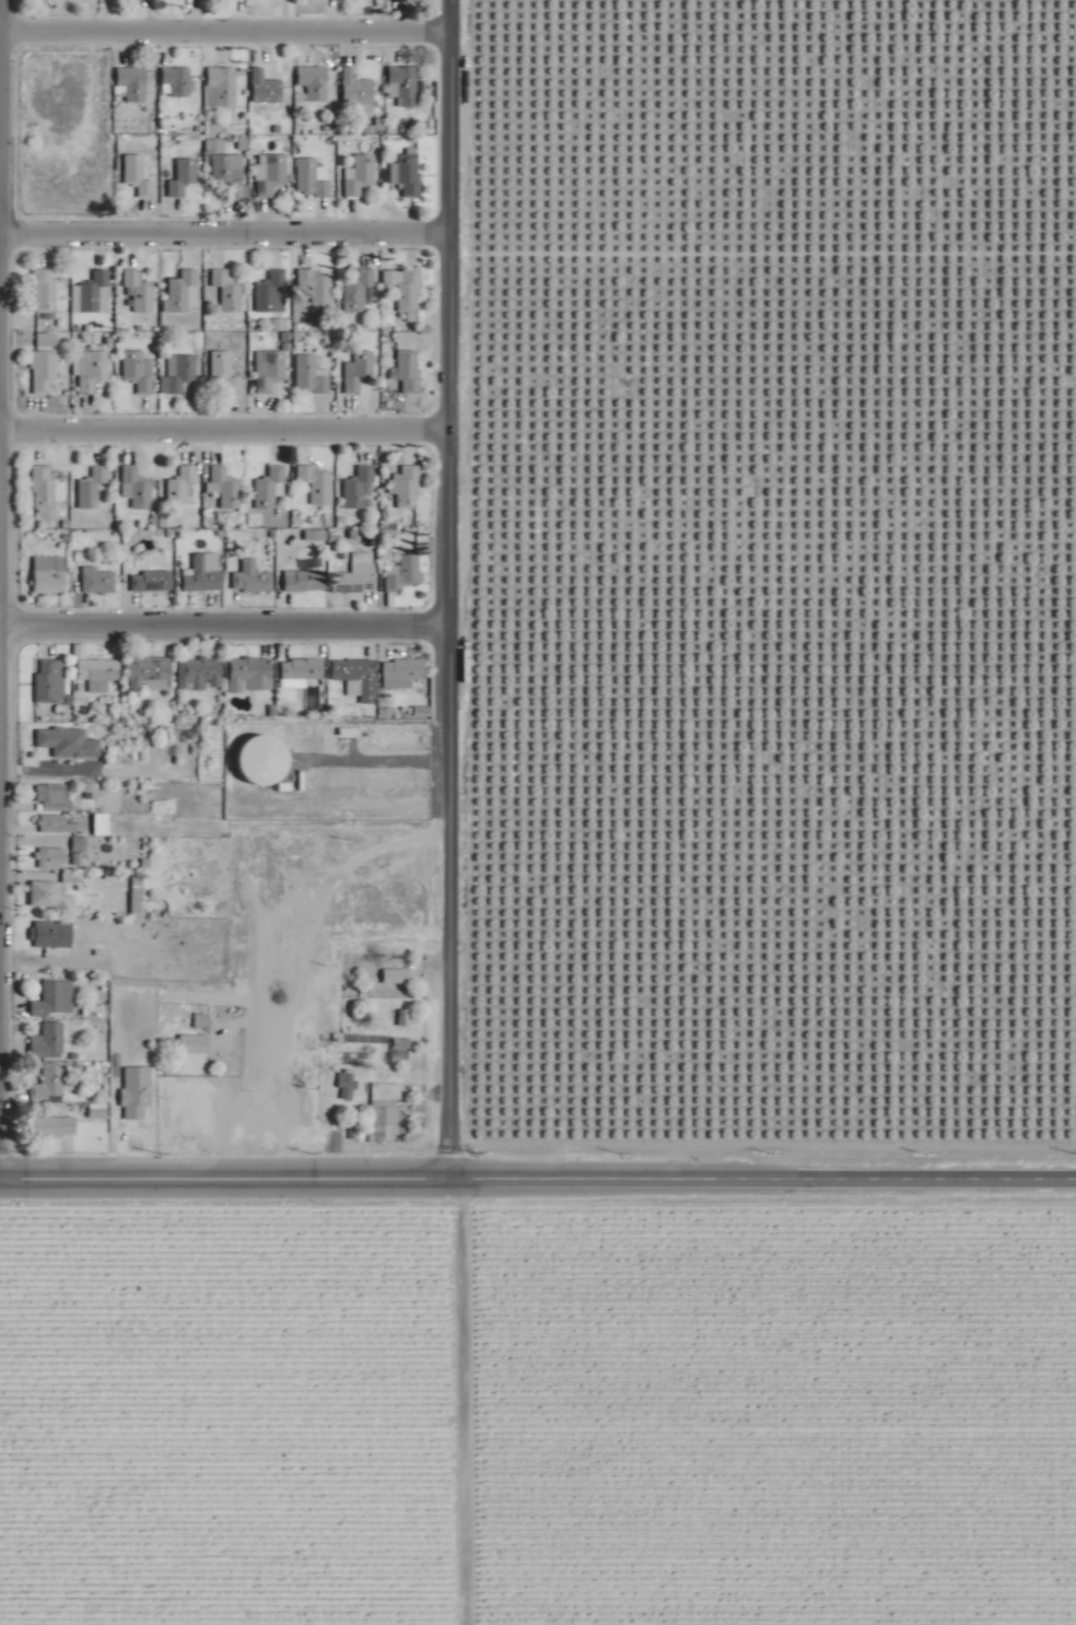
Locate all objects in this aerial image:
road: (224, 23)
building: (179, 82)
building: (313, 82)
building: (131, 85)
building: (403, 85)
building: (222, 87)
building: (266, 87)
building: (356, 92)
building: (407, 172)
building: (270, 173)
building: (138, 175)
building: (360, 175)
building: (229, 176)
building: (184, 177)
building: (313, 178)
road: (223, 224)
building: (318, 287)
building: (405, 288)
building: (45, 290)
building: (359, 290)
building: (183, 291)
building: (227, 291)
building: (139, 292)
building: (272, 292)
building: (93, 293)
building: (47, 339)
building: (93, 370)
building: (269, 370)
building: (139, 371)
building: (408, 371)
building: (45, 372)
building: (178, 372)
building: (359, 372)
building: (224, 374)
building: (309, 375)
road: (223, 420)
building: (317, 483)
building: (182, 486)
building: (269, 486)
building: (225, 487)
building: (408, 487)
building: (43, 488)
building: (92, 488)
building: (137, 488)
building: (359, 488)
building: (204, 573)
building: (402, 573)
building: (356, 575)
building: (252, 578)
building: (48, 580)
building: (97, 581)
building: (152, 581)
building: (304, 581)
road: (445, 585)
road: (222, 613)
building: (95, 670)
building: (147, 670)
building: (301, 670)
building: (402, 673)
building: (200, 674)
building: (250, 674)
building: (356, 677)
building: (50, 681)
building: (51, 793)
building: (52, 823)
building: (50, 857)
building: (50, 895)
crop: (685, 920)
building: (52, 934)
building: (395, 975)
building: (50, 999)
building: (48, 1041)
building: (194, 1043)
building: (365, 1049)
building: (47, 1080)
building: (347, 1084)
building: (385, 1111)
building: (52, 1126)
road: (221, 1170)
road: (759, 1173)

